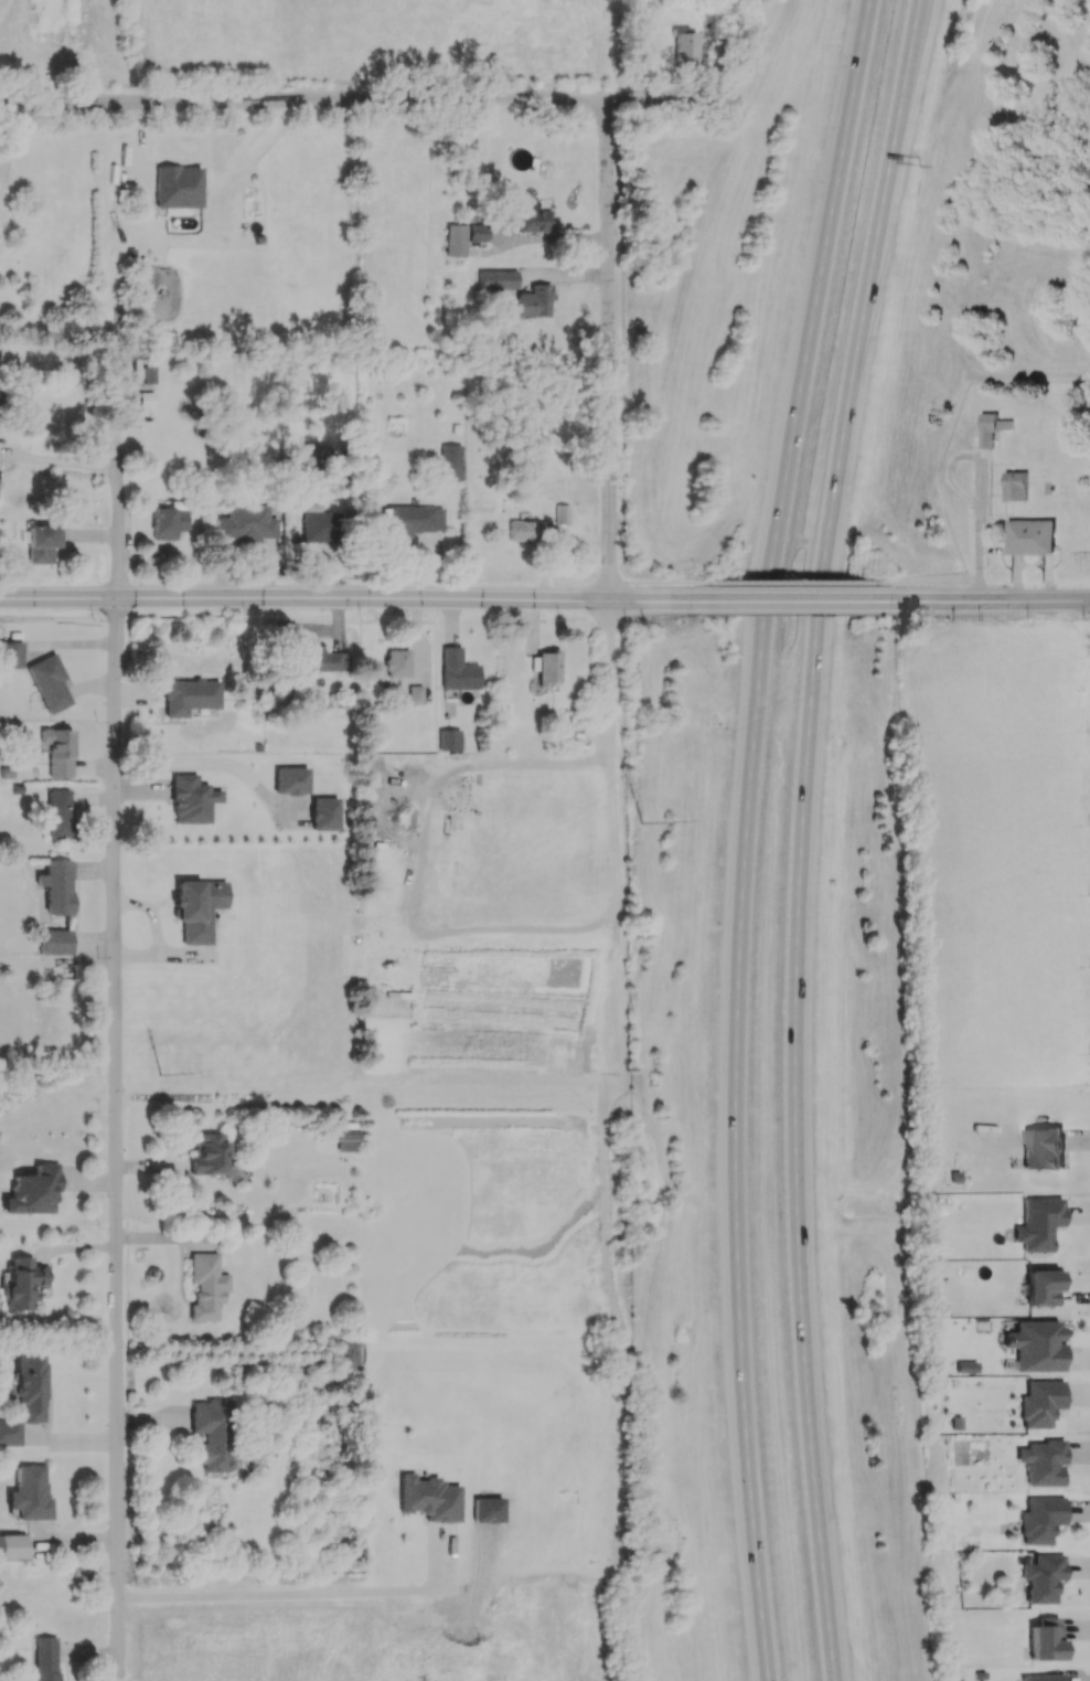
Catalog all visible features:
building: (684, 50)
road: (359, 106)
building: (178, 187)
building: (533, 220)
building: (462, 237)
building: (496, 279)
building: (535, 300)
road: (610, 353)
building: (147, 389)
building: (991, 427)
road: (60, 459)
building: (450, 462)
building: (1015, 486)
road: (980, 487)
building: (562, 513)
road: (116, 515)
building: (413, 521)
building: (167, 522)
building: (247, 522)
building: (321, 524)
building: (528, 531)
building: (1029, 535)
building: (41, 542)
road: (977, 555)
road: (654, 582)
road: (787, 582)
road: (926, 582)
road: (57, 598)
road: (362, 598)
road: (648, 600)
road: (990, 600)
road: (788, 602)
building: (10, 655)
building: (323, 662)
building: (396, 662)
building: (547, 666)
building: (457, 670)
road: (609, 682)
building: (49, 683)
building: (412, 693)
building: (189, 696)
building: (449, 740)
building: (56, 751)
road: (531, 763)
building: (191, 799)
building: (58, 813)
power tower: (639, 823)
road: (745, 836)
road: (800, 837)
building: (56, 886)
building: (196, 908)
road: (506, 929)
building: (54, 941)
power tower: (157, 1076)
road: (115, 1136)
building: (345, 1140)
building: (1043, 1148)
building: (209, 1153)
building: (33, 1191)
building: (1038, 1223)
building: (23, 1284)
building: (206, 1285)
building: (1044, 1287)
building: (1036, 1345)
building: (345, 1354)
building: (965, 1366)
building: (31, 1386)
building: (1040, 1403)
building: (9, 1433)
building: (212, 1433)
building: (1043, 1462)
building: (30, 1493)
building: (429, 1498)
building: (1040, 1519)
building: (12, 1546)
building: (1043, 1577)
road: (259, 1593)
building: (1045, 1639)
building: (45, 1659)
building: (1041, 1678)

